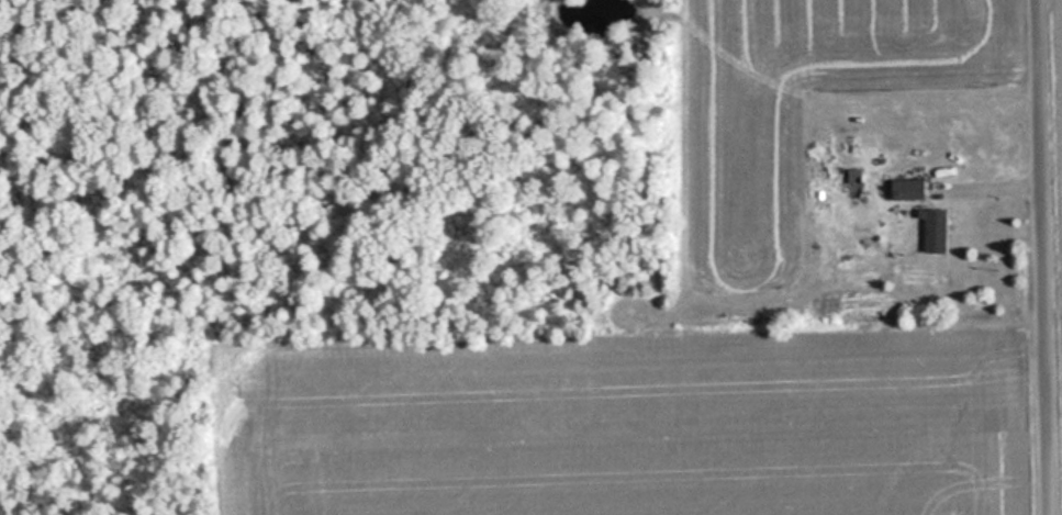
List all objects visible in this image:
building: (909, 189)
building: (932, 232)
road: (1043, 257)

